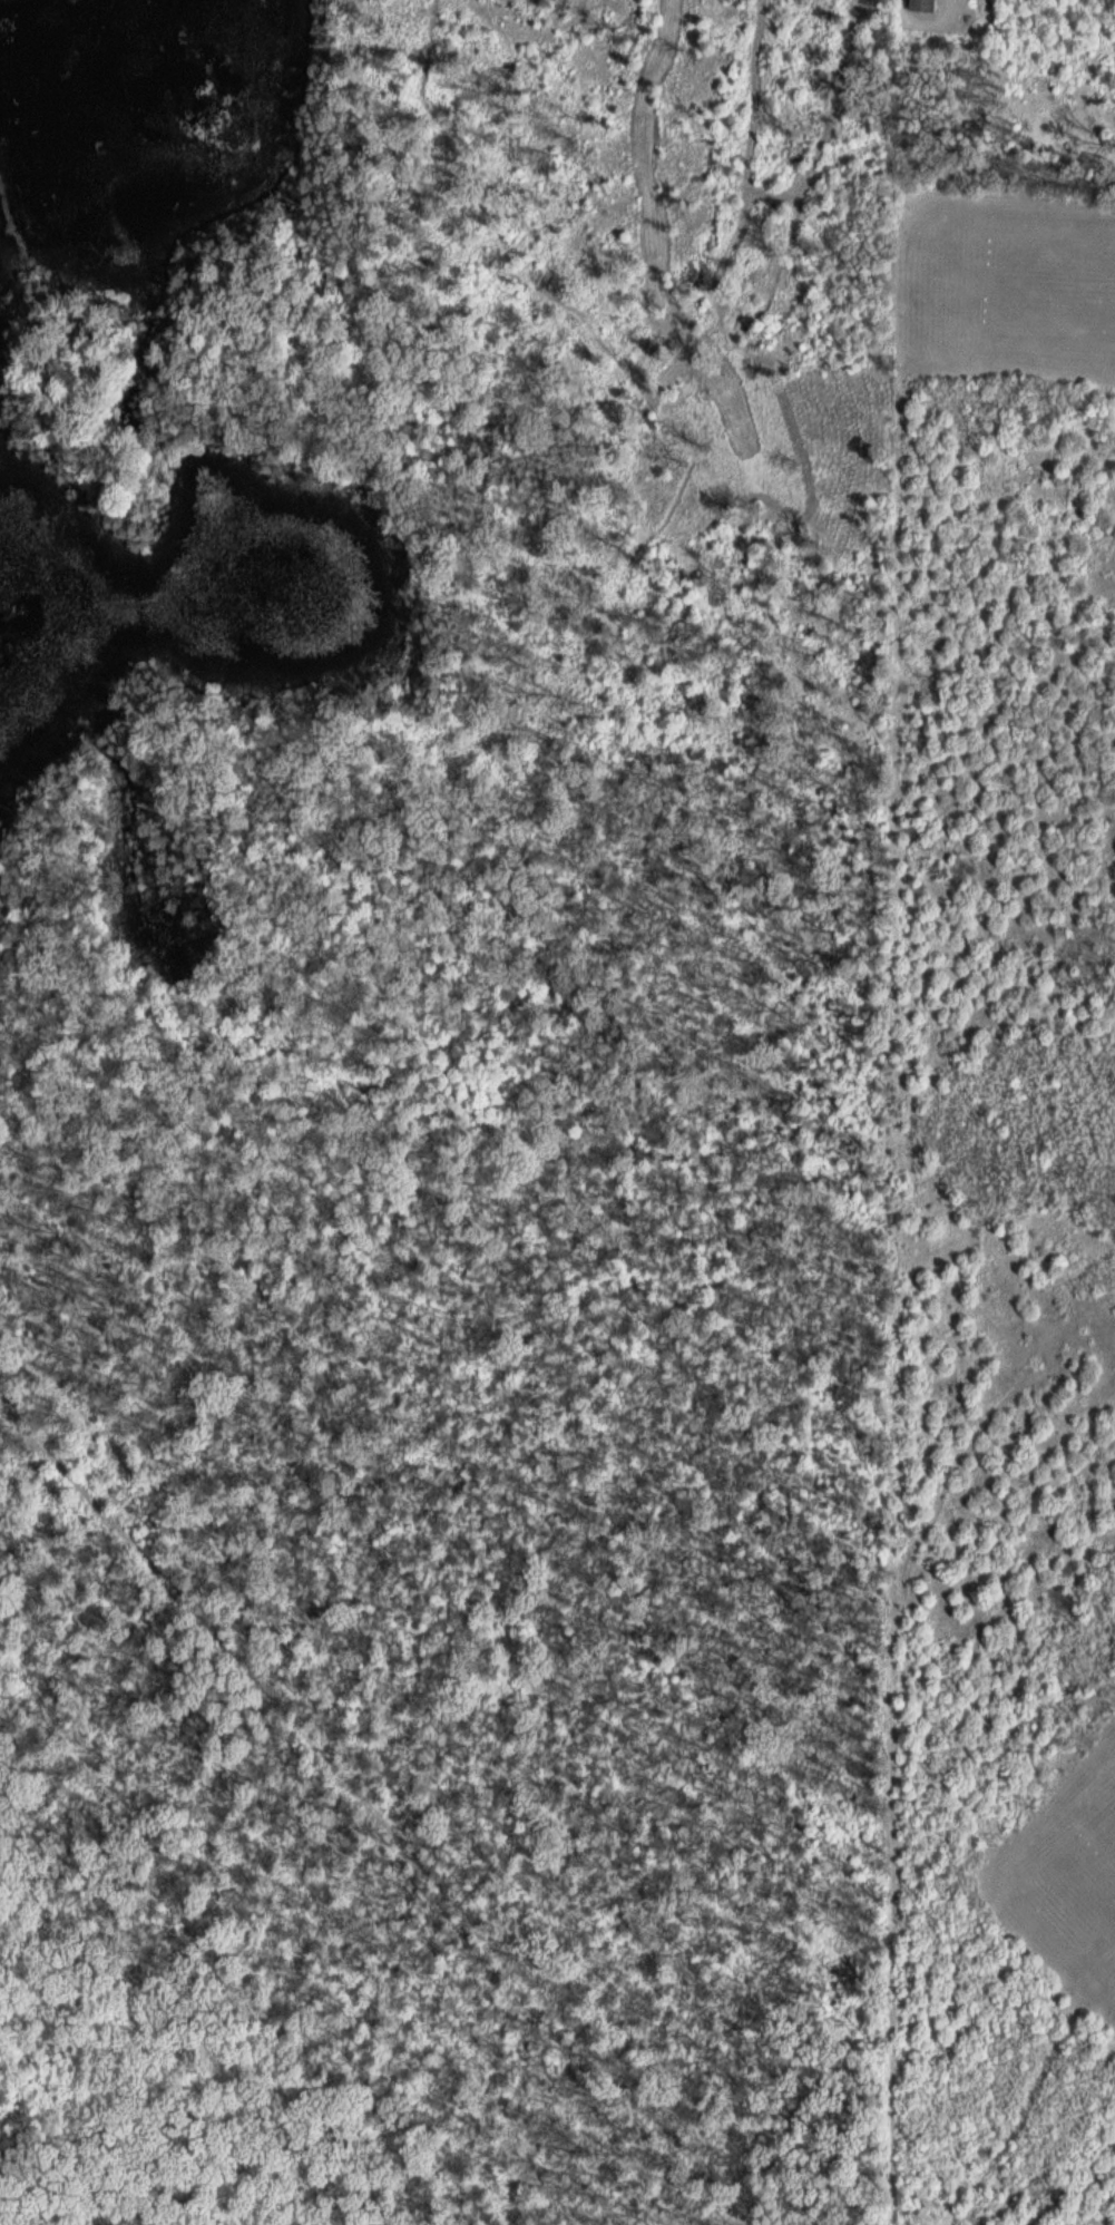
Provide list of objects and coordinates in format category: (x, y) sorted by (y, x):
building: (927, 6)
airport: (1005, 286)
road: (372, 1798)
airport: (1067, 1872)

